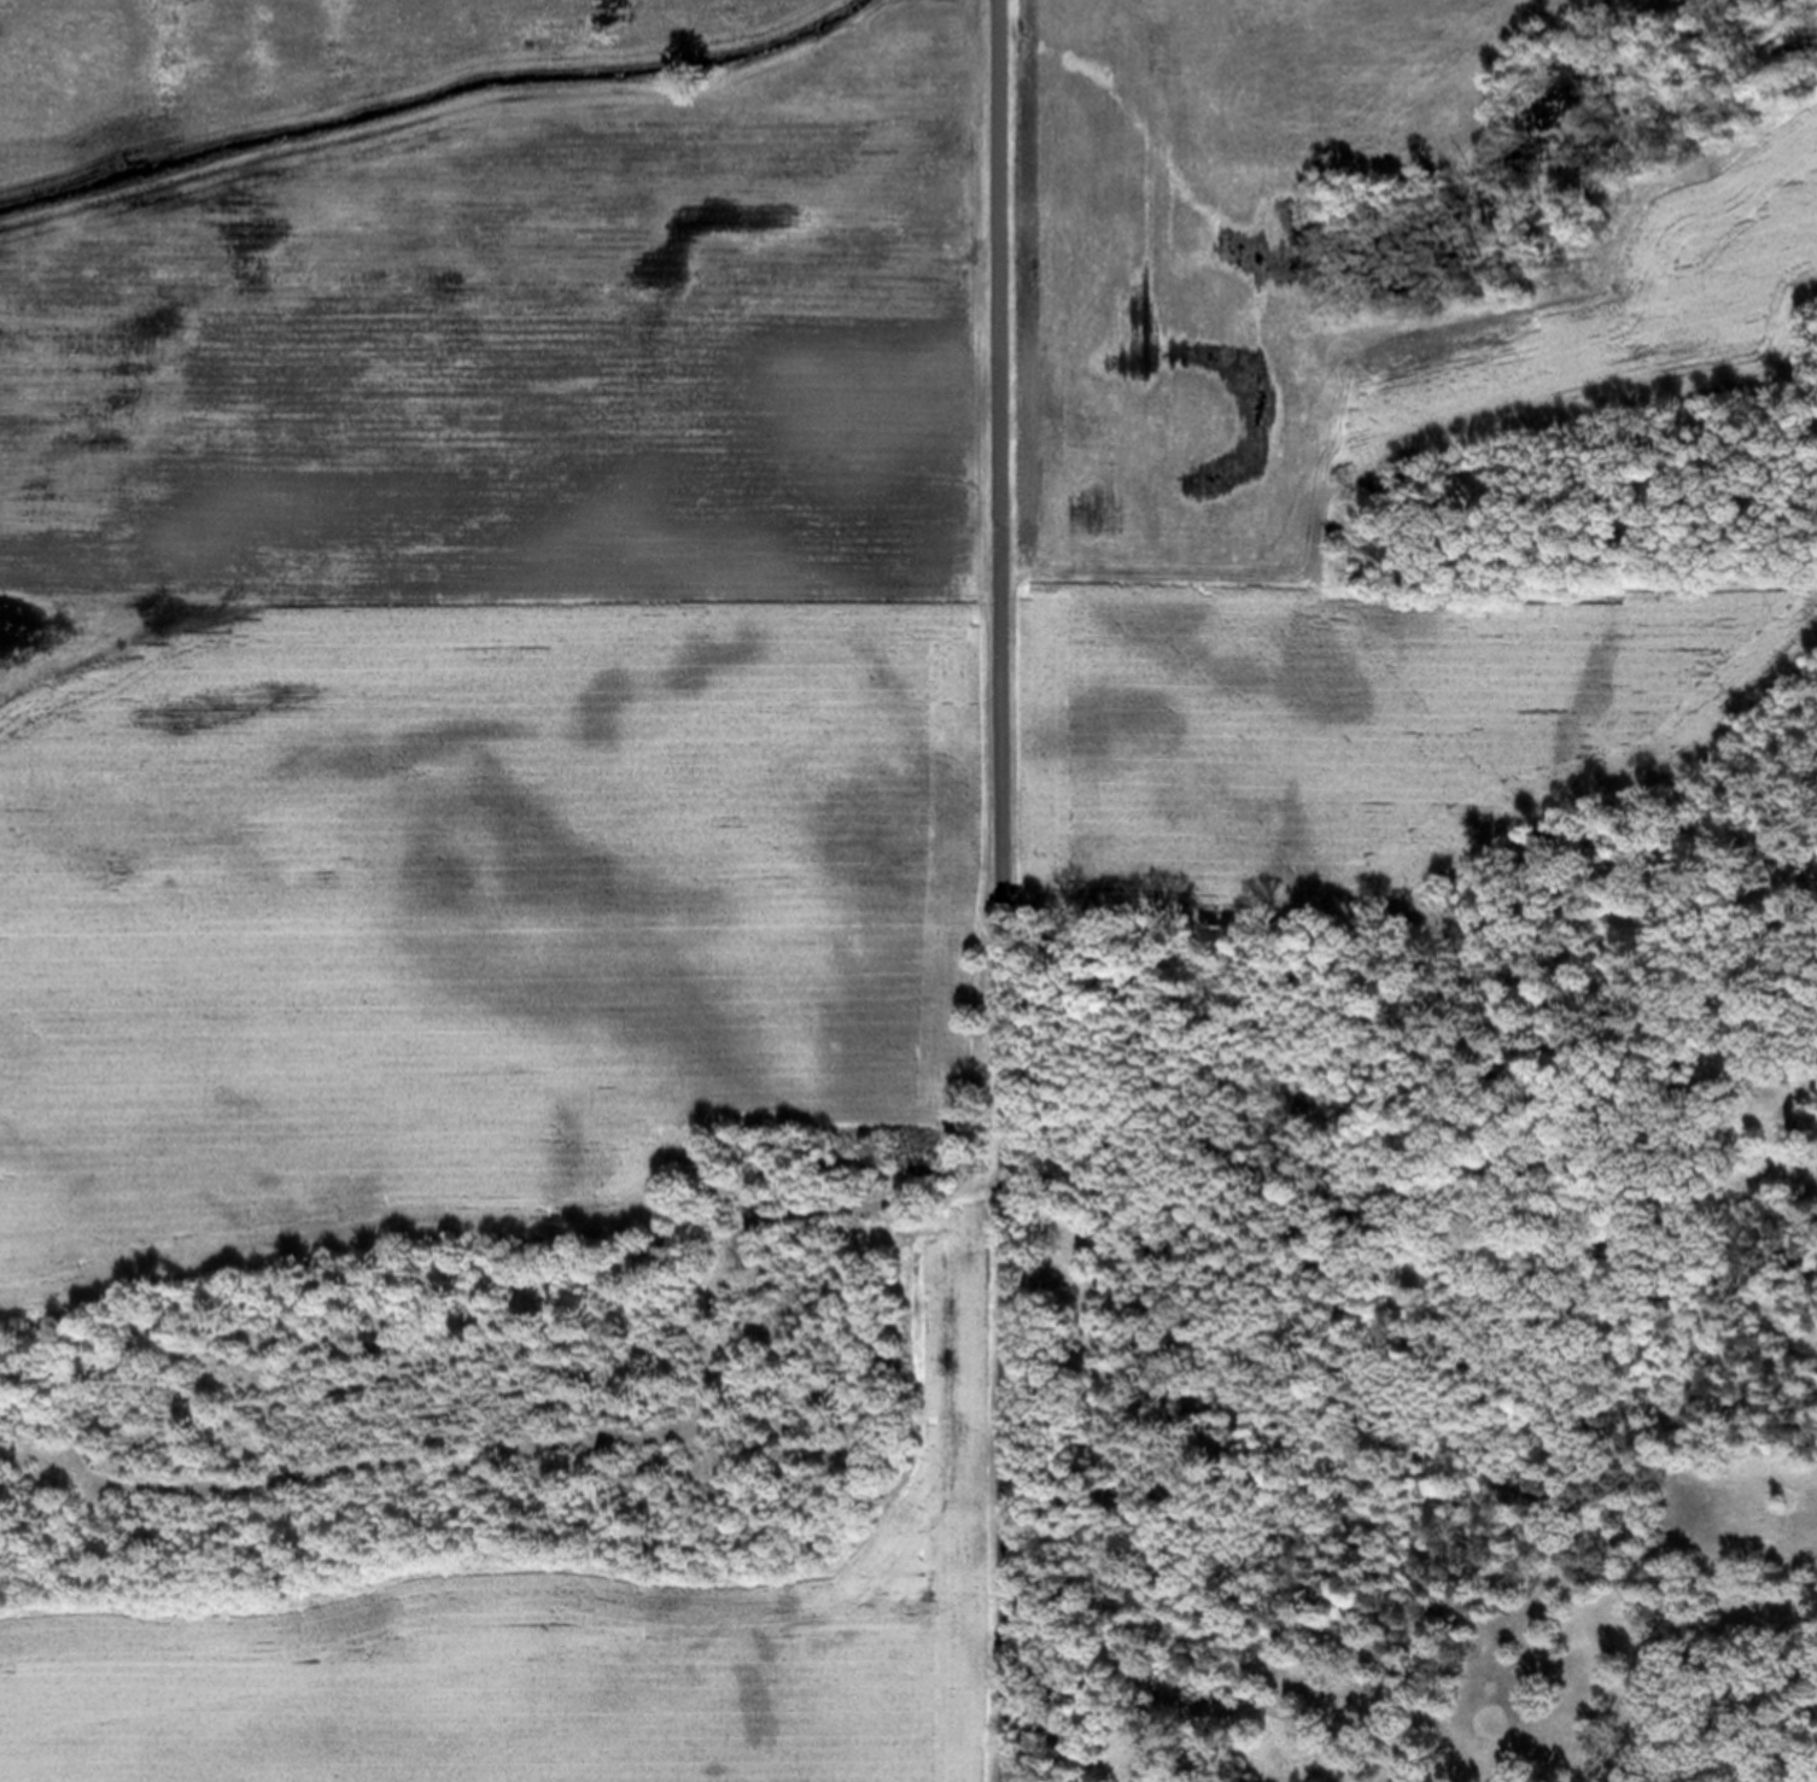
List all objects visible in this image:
road: (1003, 890)

